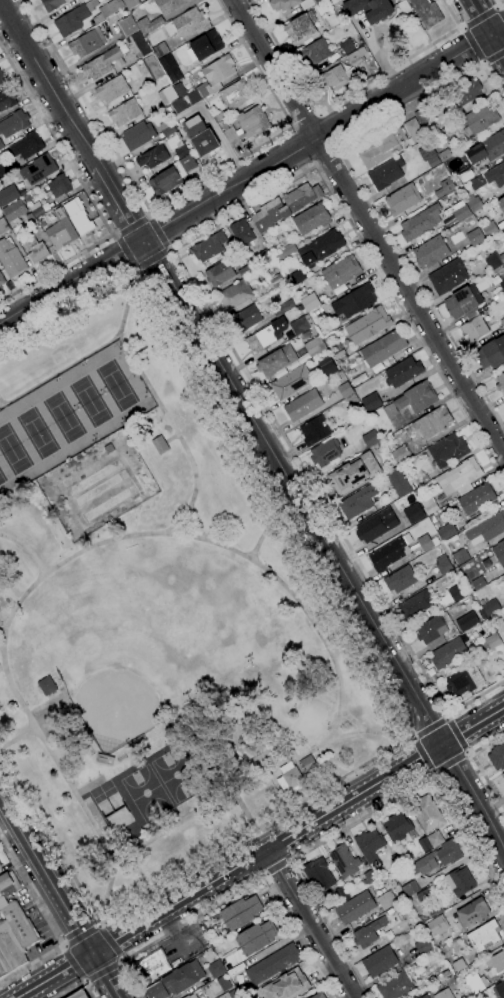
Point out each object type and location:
building: (81, 1)
building: (130, 3)
building: (51, 4)
building: (290, 4)
road: (498, 4)
building: (169, 5)
building: (370, 9)
road: (501, 9)
building: (108, 10)
building: (427, 12)
road: (480, 16)
building: (71, 21)
building: (330, 22)
building: (187, 23)
building: (149, 25)
building: (127, 27)
building: (300, 27)
road: (488, 29)
building: (87, 43)
building: (138, 44)
building: (205, 46)
building: (347, 46)
road: (471, 46)
building: (160, 50)
building: (318, 51)
building: (354, 58)
road: (493, 58)
building: (101, 63)
building: (153, 68)
building: (170, 69)
building: (215, 75)
building: (336, 77)
building: (1, 80)
road: (49, 83)
building: (112, 89)
building: (179, 89)
building: (465, 91)
building: (235, 94)
building: (167, 95)
road: (347, 95)
building: (7, 98)
building: (186, 101)
building: (125, 112)
building: (421, 115)
building: (220, 116)
road: (304, 120)
building: (480, 120)
building: (14, 123)
building: (245, 125)
building: (166, 128)
building: (138, 136)
building: (200, 136)
building: (1, 144)
building: (389, 144)
building: (28, 145)
building: (487, 148)
building: (180, 149)
building: (429, 155)
building: (444, 155)
building: (152, 157)
road: (328, 158)
building: (36, 170)
building: (2, 172)
building: (386, 173)
building: (465, 174)
building: (172, 175)
building: (495, 175)
road: (253, 177)
building: (476, 183)
building: (58, 187)
building: (444, 188)
building: (8, 195)
road: (90, 196)
road: (177, 197)
road: (368, 199)
building: (402, 199)
building: (473, 203)
road: (121, 204)
building: (501, 204)
building: (284, 206)
building: (36, 209)
building: (14, 210)
building: (456, 213)
road: (147, 215)
road: (149, 216)
building: (78, 217)
building: (312, 218)
building: (420, 223)
road: (131, 224)
building: (3, 226)
road: (369, 226)
building: (490, 229)
building: (62, 232)
road: (158, 232)
building: (241, 232)
road: (115, 233)
road: (114, 236)
building: (474, 237)
building: (212, 247)
building: (321, 247)
road: (169, 248)
building: (35, 249)
road: (168, 251)
building: (284, 251)
road: (123, 252)
building: (430, 252)
building: (265, 255)
building: (501, 257)
building: (11, 258)
road: (151, 260)
building: (492, 262)
road: (133, 269)
road: (136, 270)
building: (244, 271)
building: (341, 272)
building: (219, 274)
building: (297, 276)
building: (448, 276)
building: (2, 279)
road: (188, 280)
building: (277, 281)
building: (501, 285)
building: (0, 287)
building: (235, 295)
building: (308, 299)
building: (354, 301)
building: (464, 302)
building: (284, 307)
building: (248, 317)
building: (502, 322)
building: (301, 324)
building: (367, 325)
building: (473, 329)
building: (267, 335)
building: (314, 346)
building: (383, 348)
building: (491, 354)
building: (340, 356)
building: (276, 360)
building: (329, 369)
road: (60, 371)
building: (403, 372)
building: (291, 382)
building: (500, 382)
park: (115, 385)
building: (345, 390)
building: (417, 397)
road: (2, 401)
park: (88, 401)
building: (371, 402)
building: (503, 404)
road: (164, 405)
building: (303, 405)
building: (390, 411)
park: (62, 417)
building: (432, 423)
building: (314, 431)
park: (36, 433)
building: (370, 438)
building: (160, 445)
building: (108, 448)
building: (447, 450)
park: (12, 451)
building: (324, 453)
building: (400, 454)
building: (354, 474)
building: (460, 474)
park: (2, 477)
park: (92, 477)
building: (398, 482)
park: (99, 488)
building: (477, 499)
building: (426, 501)
building: (358, 502)
park: (107, 504)
building: (414, 513)
road: (199, 525)
building: (375, 526)
building: (487, 527)
building: (446, 531)
road: (264, 536)
road: (327, 544)
road: (27, 549)
road: (84, 550)
building: (398, 551)
building: (499, 553)
building: (460, 556)
building: (444, 564)
building: (503, 576)
building: (400, 579)
building: (478, 583)
building: (457, 593)
building: (416, 605)
building: (490, 606)
park: (157, 614)
park: (161, 617)
building: (467, 621)
building: (501, 626)
park: (254, 630)
building: (432, 632)
road: (1, 638)
building: (494, 641)
building: (503, 641)
building: (449, 652)
park: (185, 662)
road: (374, 676)
building: (464, 680)
park: (127, 682)
building: (46, 686)
road: (445, 718)
road: (448, 718)
park: (310, 719)
road: (337, 724)
road: (472, 725)
road: (429, 728)
road: (456, 734)
road: (412, 737)
road: (18, 738)
road: (412, 738)
traffic signals: (441, 745)
road: (467, 751)
road: (466, 754)
road: (422, 755)
building: (497, 756)
building: (103, 759)
road: (449, 762)
building: (308, 764)
road: (476, 766)
road: (430, 772)
road: (433, 772)
park: (175, 774)
building: (502, 776)
building: (290, 778)
building: (503, 783)
road: (240, 790)
park: (145, 793)
park: (110, 805)
road: (246, 811)
building: (427, 813)
road: (354, 822)
building: (398, 827)
building: (435, 839)
building: (369, 844)
building: (424, 844)
road: (30, 848)
road: (266, 849)
building: (440, 857)
building: (345, 861)
building: (396, 862)
road: (288, 864)
building: (0, 866)
road: (276, 870)
building: (318, 874)
building: (398, 876)
road: (266, 877)
building: (368, 878)
building: (459, 882)
building: (7, 886)
building: (410, 889)
building: (427, 892)
building: (342, 894)
road: (235, 895)
building: (386, 900)
building: (356, 908)
building: (397, 908)
building: (437, 910)
building: (240, 913)
building: (472, 913)
road: (311, 923)
building: (19, 924)
road: (48, 925)
road: (97, 925)
building: (437, 925)
road: (76, 927)
road: (174, 932)
building: (369, 933)
building: (484, 936)
building: (255, 937)
road: (81, 938)
road: (109, 942)
road: (62, 946)
building: (423, 946)
building: (9, 948)
traffic signals: (92, 954)
road: (120, 960)
building: (379, 961)
road: (72, 964)
building: (153, 964)
building: (272, 964)
building: (495, 964)
building: (458, 965)
building: (216, 969)
road: (102, 970)
road: (54, 975)
road: (105, 975)
building: (183, 978)
road: (84, 981)
building: (223, 983)
building: (472, 984)
road: (78, 985)
building: (286, 985)
building: (395, 986)
building: (499, 990)
building: (156, 991)
building: (244, 992)
building: (79, 994)
building: (228, 994)
building: (443, 994)
building: (196, 995)
building: (319, 995)

